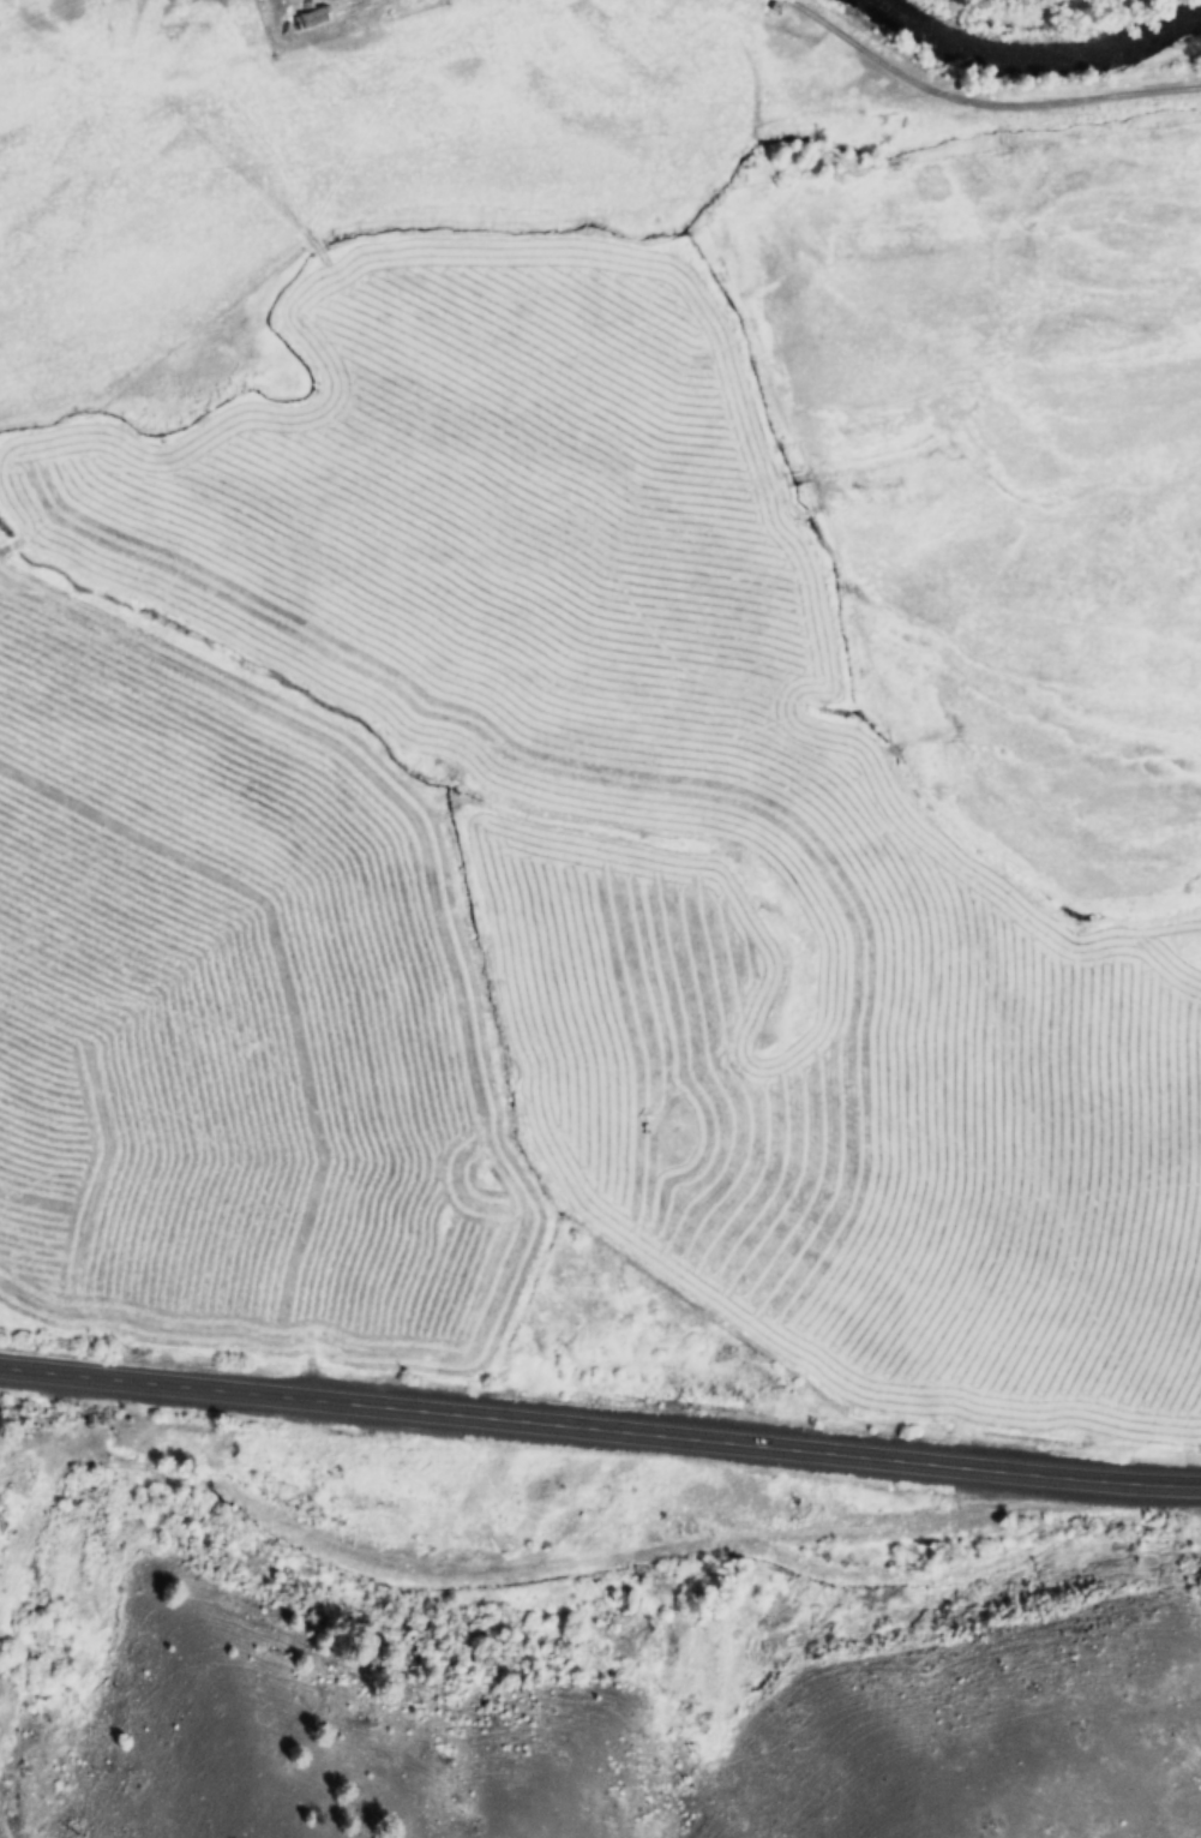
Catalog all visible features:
river: (1073, 17)
road: (600, 1431)

